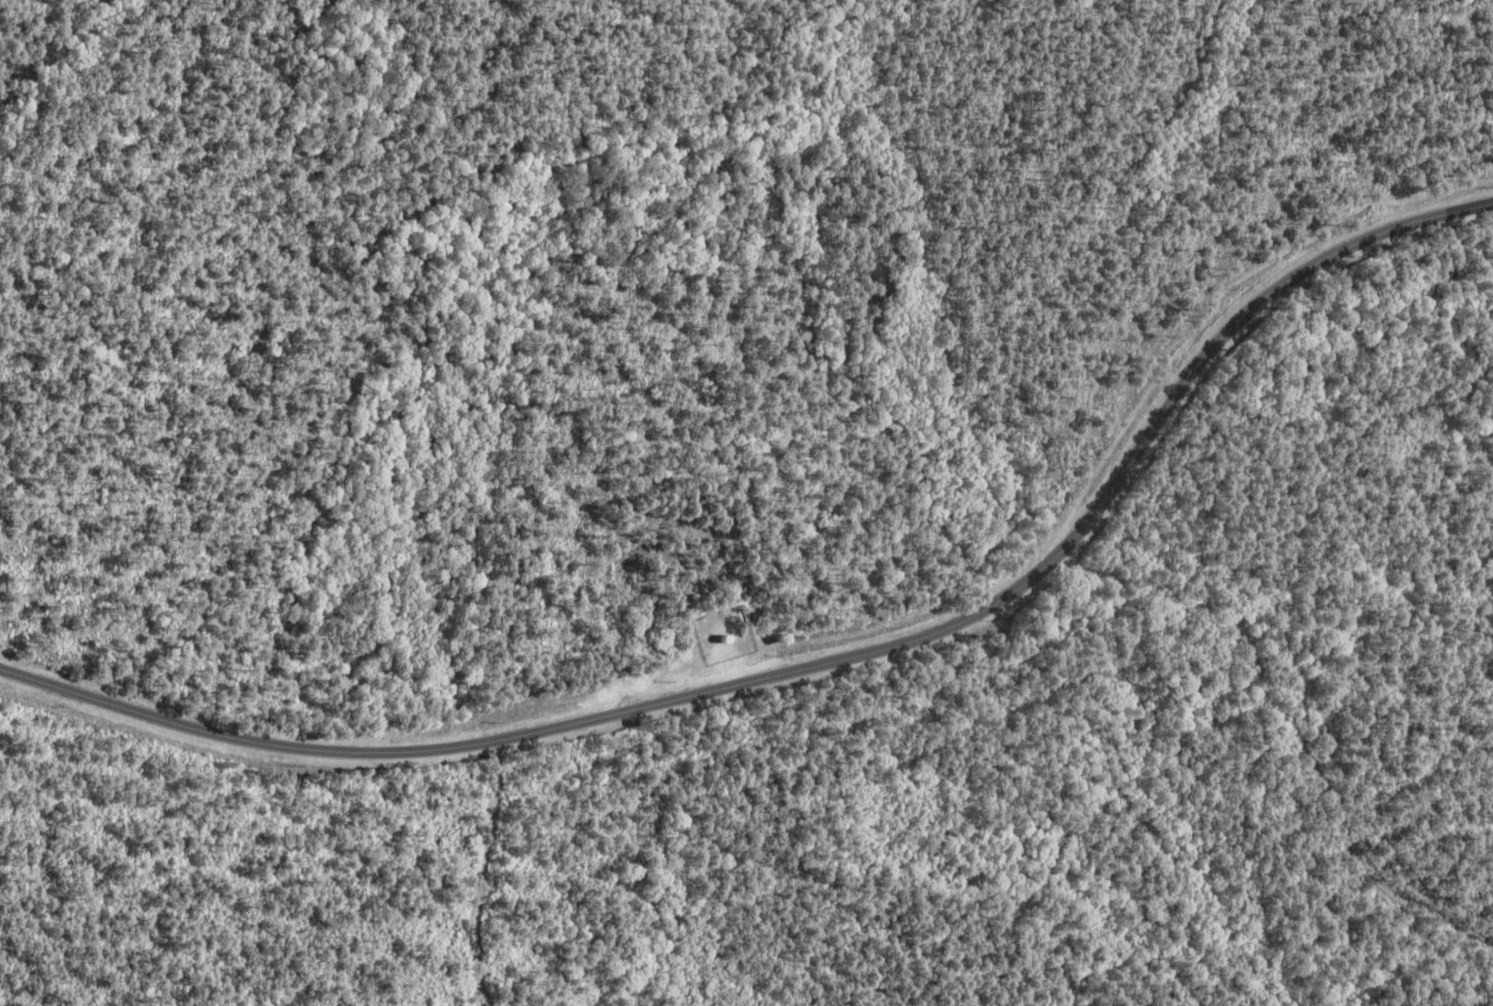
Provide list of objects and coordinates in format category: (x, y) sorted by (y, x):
road: (1124, 592)
road: (822, 664)
road: (490, 872)

